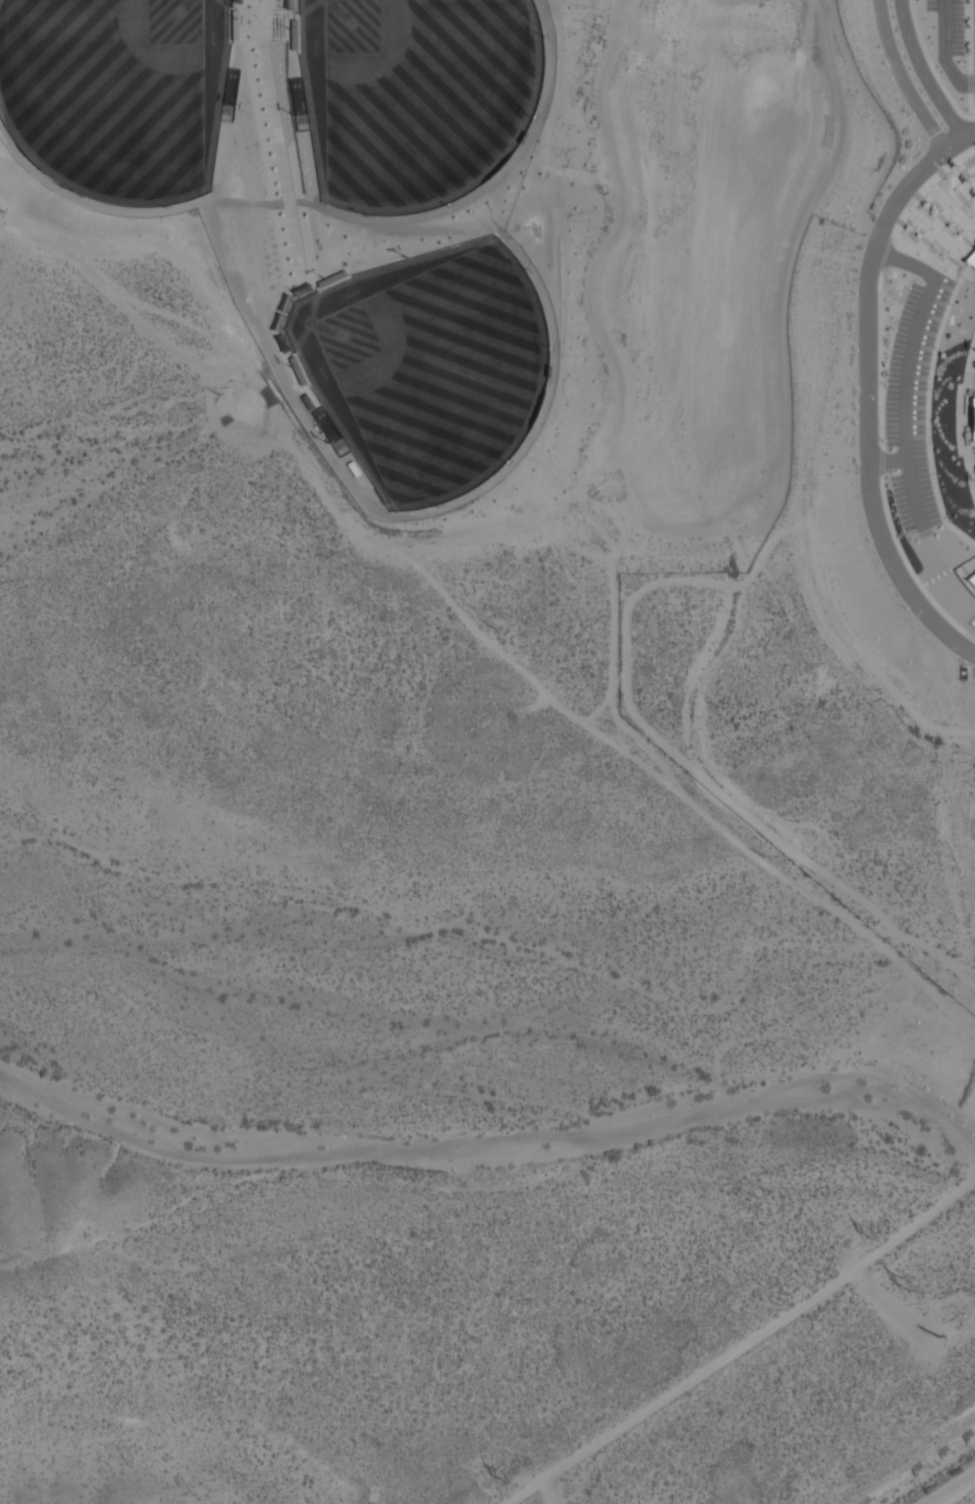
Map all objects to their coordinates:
road: (257, 7)
parking lot: (954, 41)
road: (950, 48)
road: (923, 71)
road: (902, 77)
park: (117, 91)
park: (414, 96)
road: (282, 148)
stadium: (361, 206)
stadium: (968, 268)
park: (426, 366)
road: (908, 370)
stadium: (934, 384)
road: (871, 386)
stadium: (966, 419)
road: (891, 459)
building: (974, 540)
building: (969, 572)
stadium: (967, 574)
power tower: (873, 1232)
power tower: (904, 1283)
power tower: (945, 1336)
road: (741, 1344)
power tower: (504, 1477)
road: (948, 1487)

